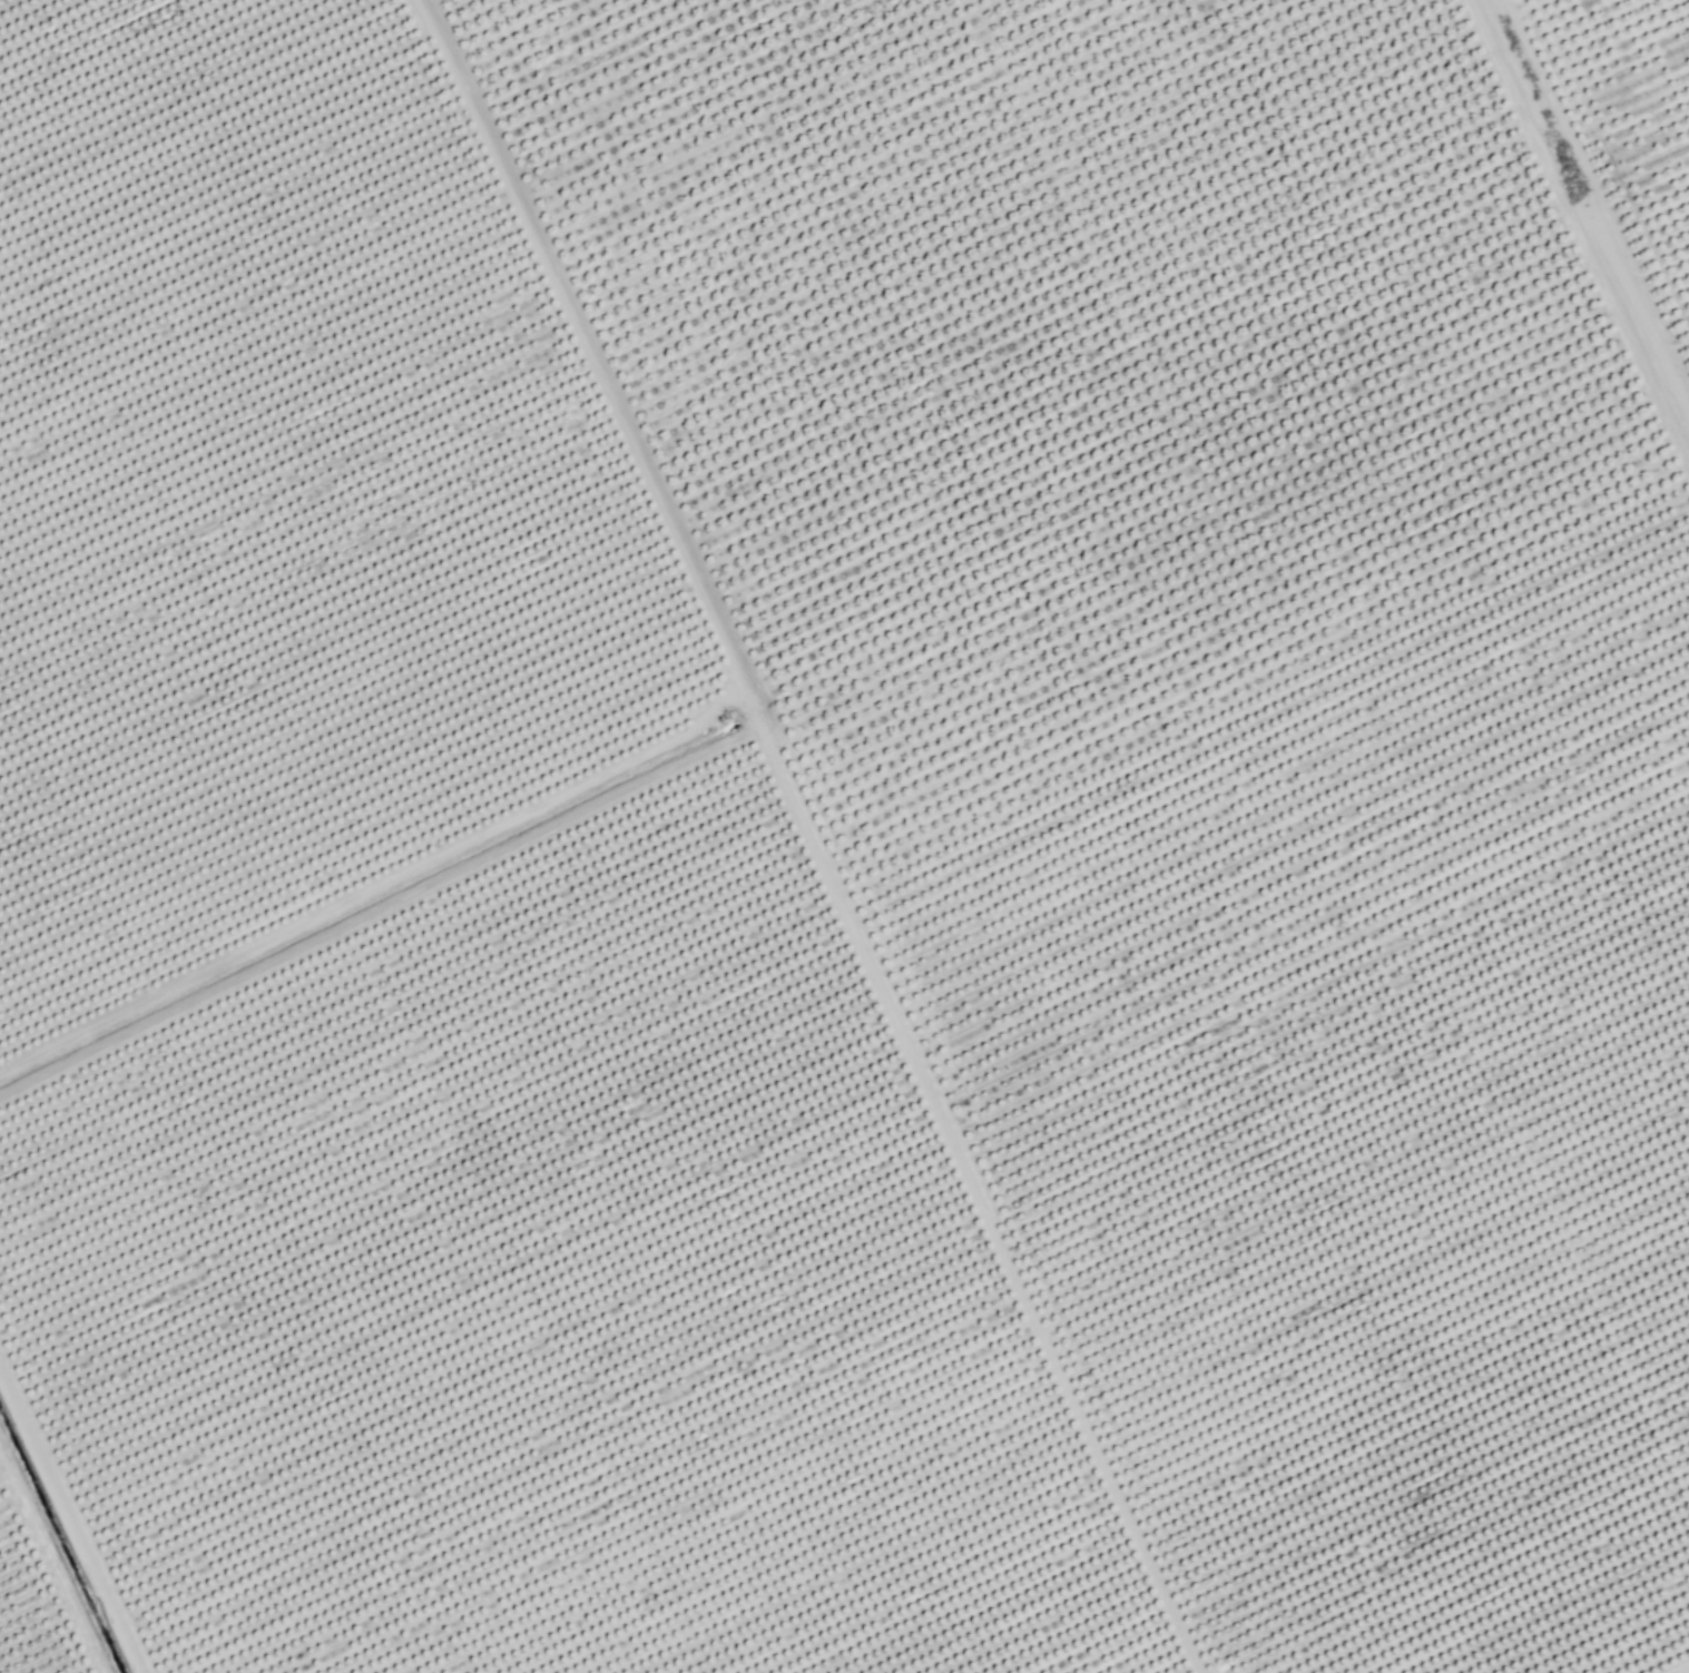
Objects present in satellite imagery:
road: (1572, 243)
road: (754, 839)
road: (60, 1556)

